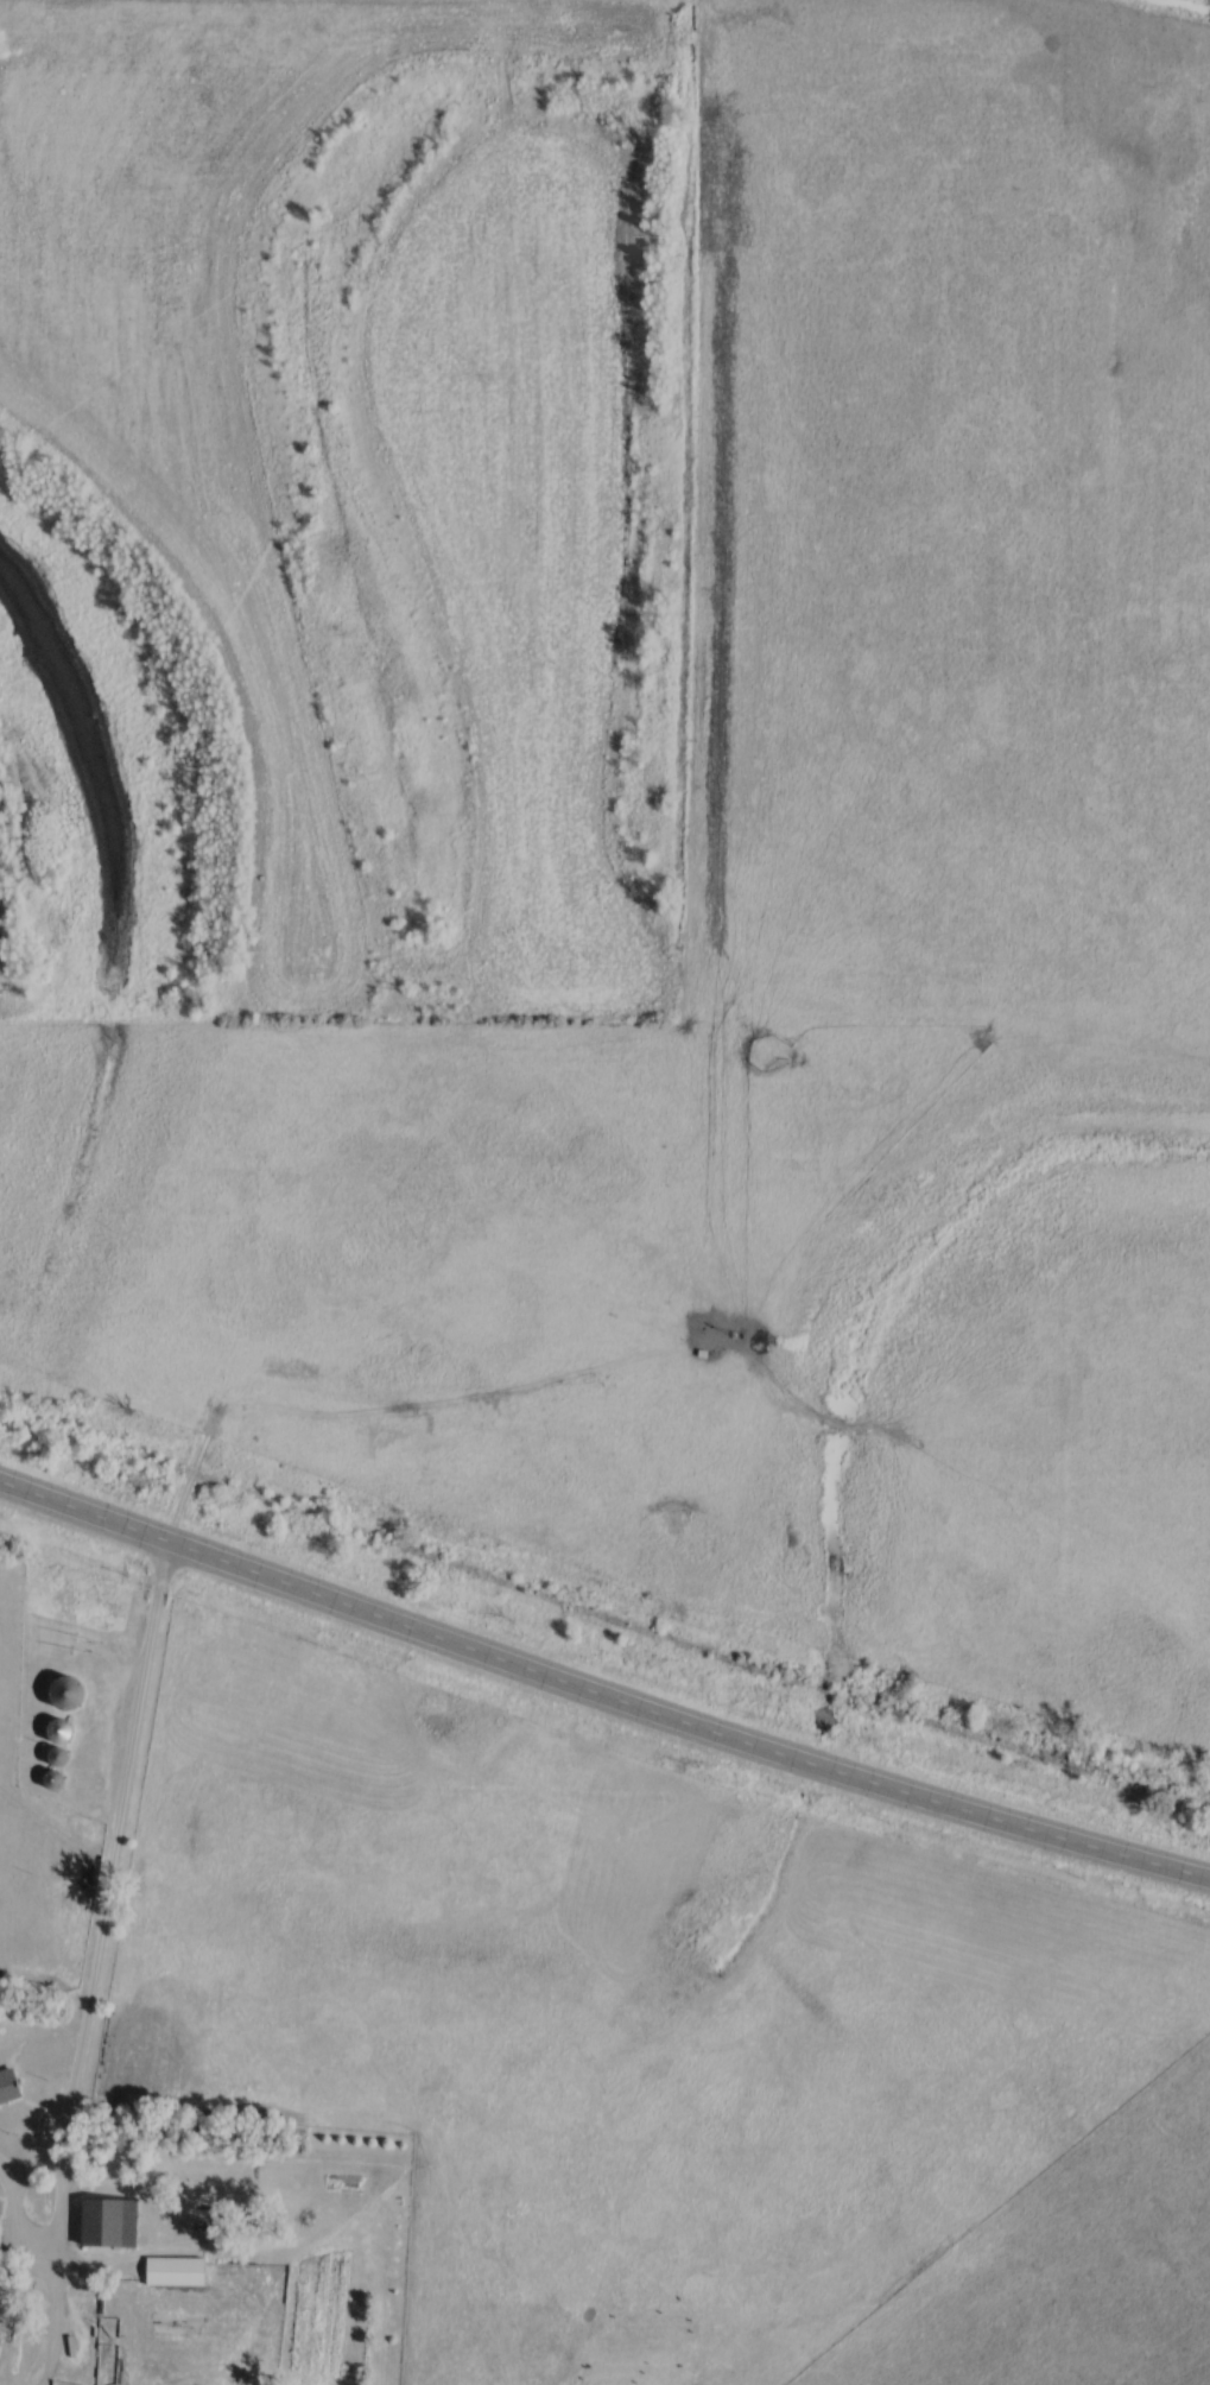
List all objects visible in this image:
road: (601, 1691)
building: (69, 1696)
building: (65, 1733)
building: (57, 1782)
road: (95, 1969)
building: (12, 2087)
building: (114, 2221)
building: (0, 2242)
building: (179, 2272)

